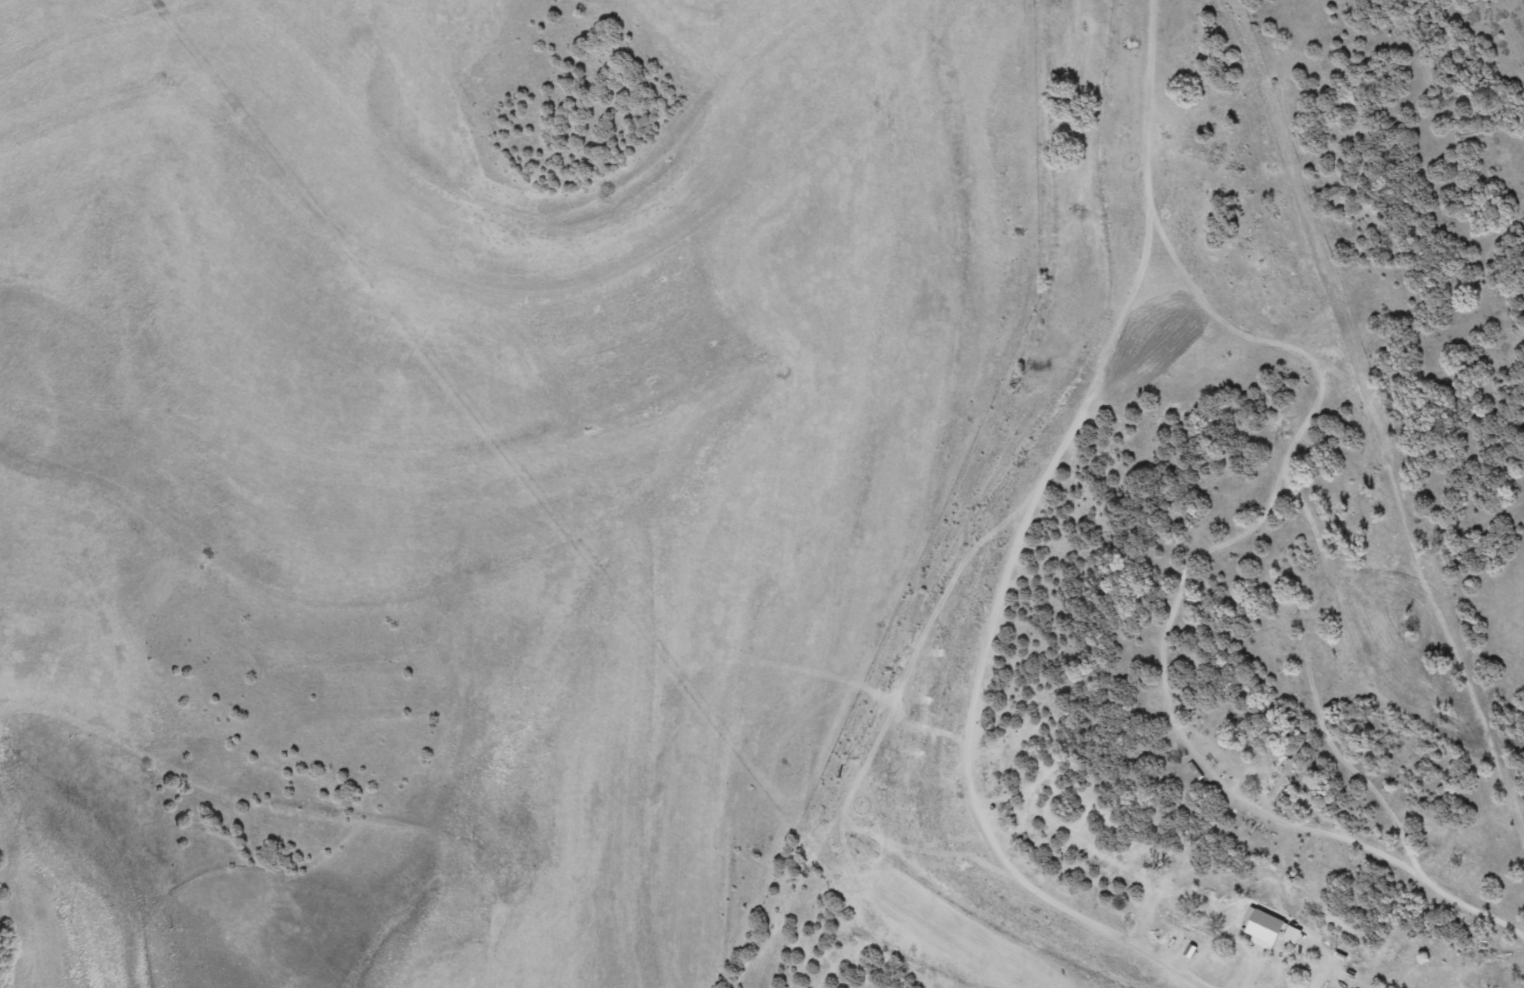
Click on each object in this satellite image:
road: (1452, 404)
road: (1469, 768)
road: (1277, 825)

